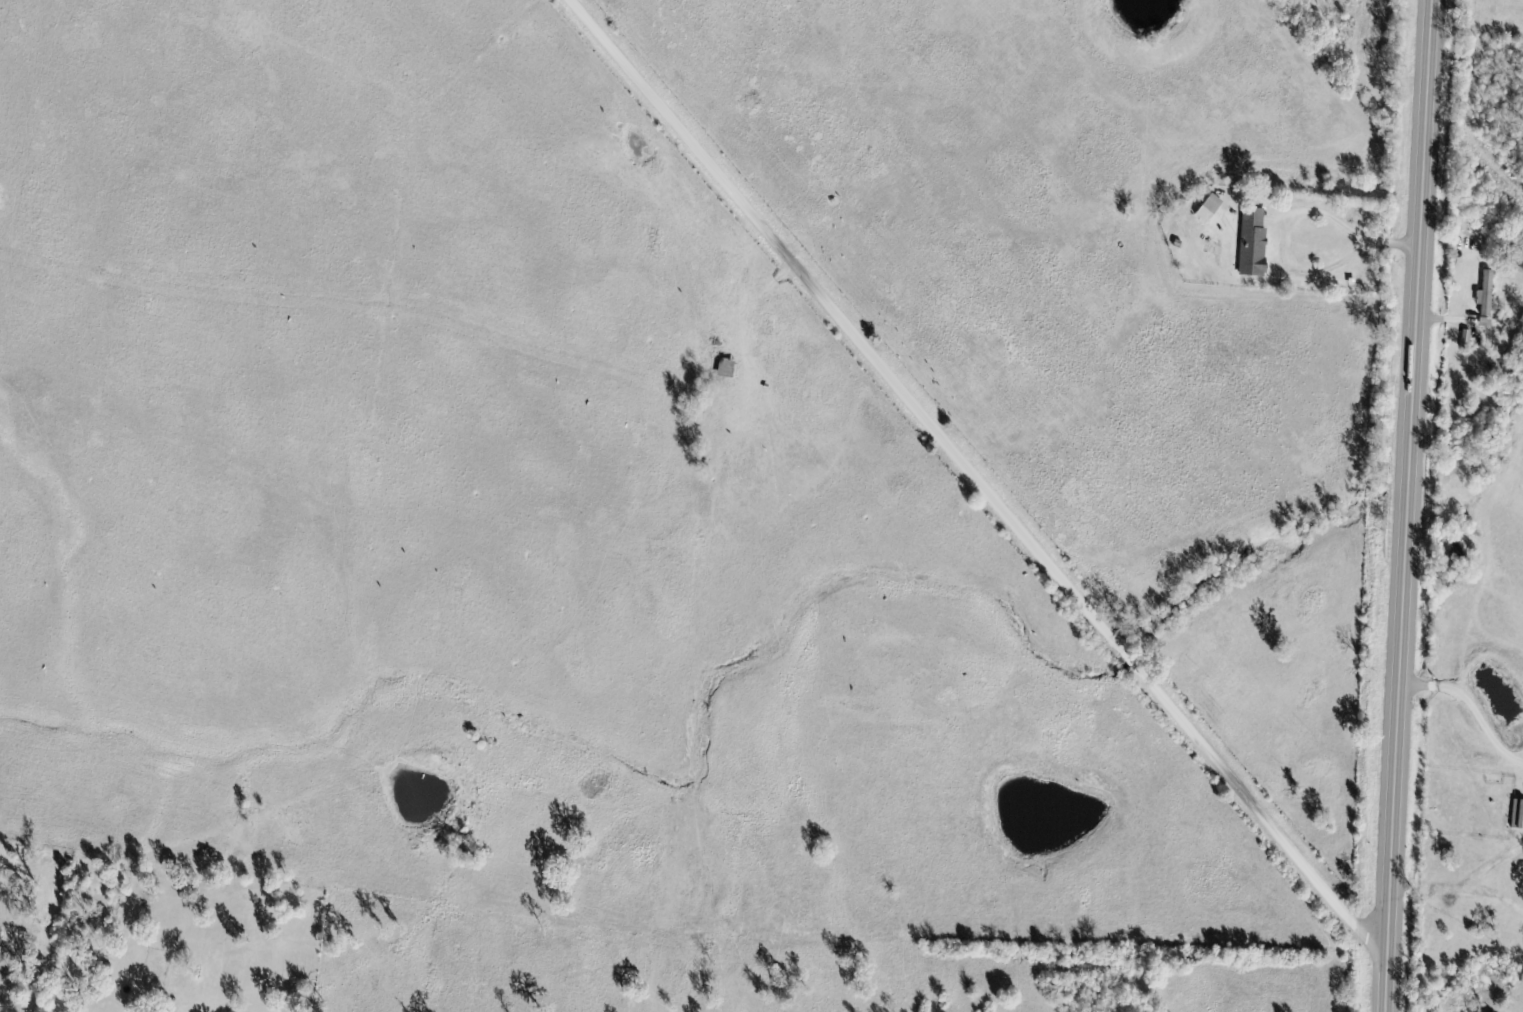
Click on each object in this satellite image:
building: (1213, 211)
building: (1256, 245)
building: (1488, 294)
road: (981, 480)
road: (1410, 505)
building: (1519, 816)

